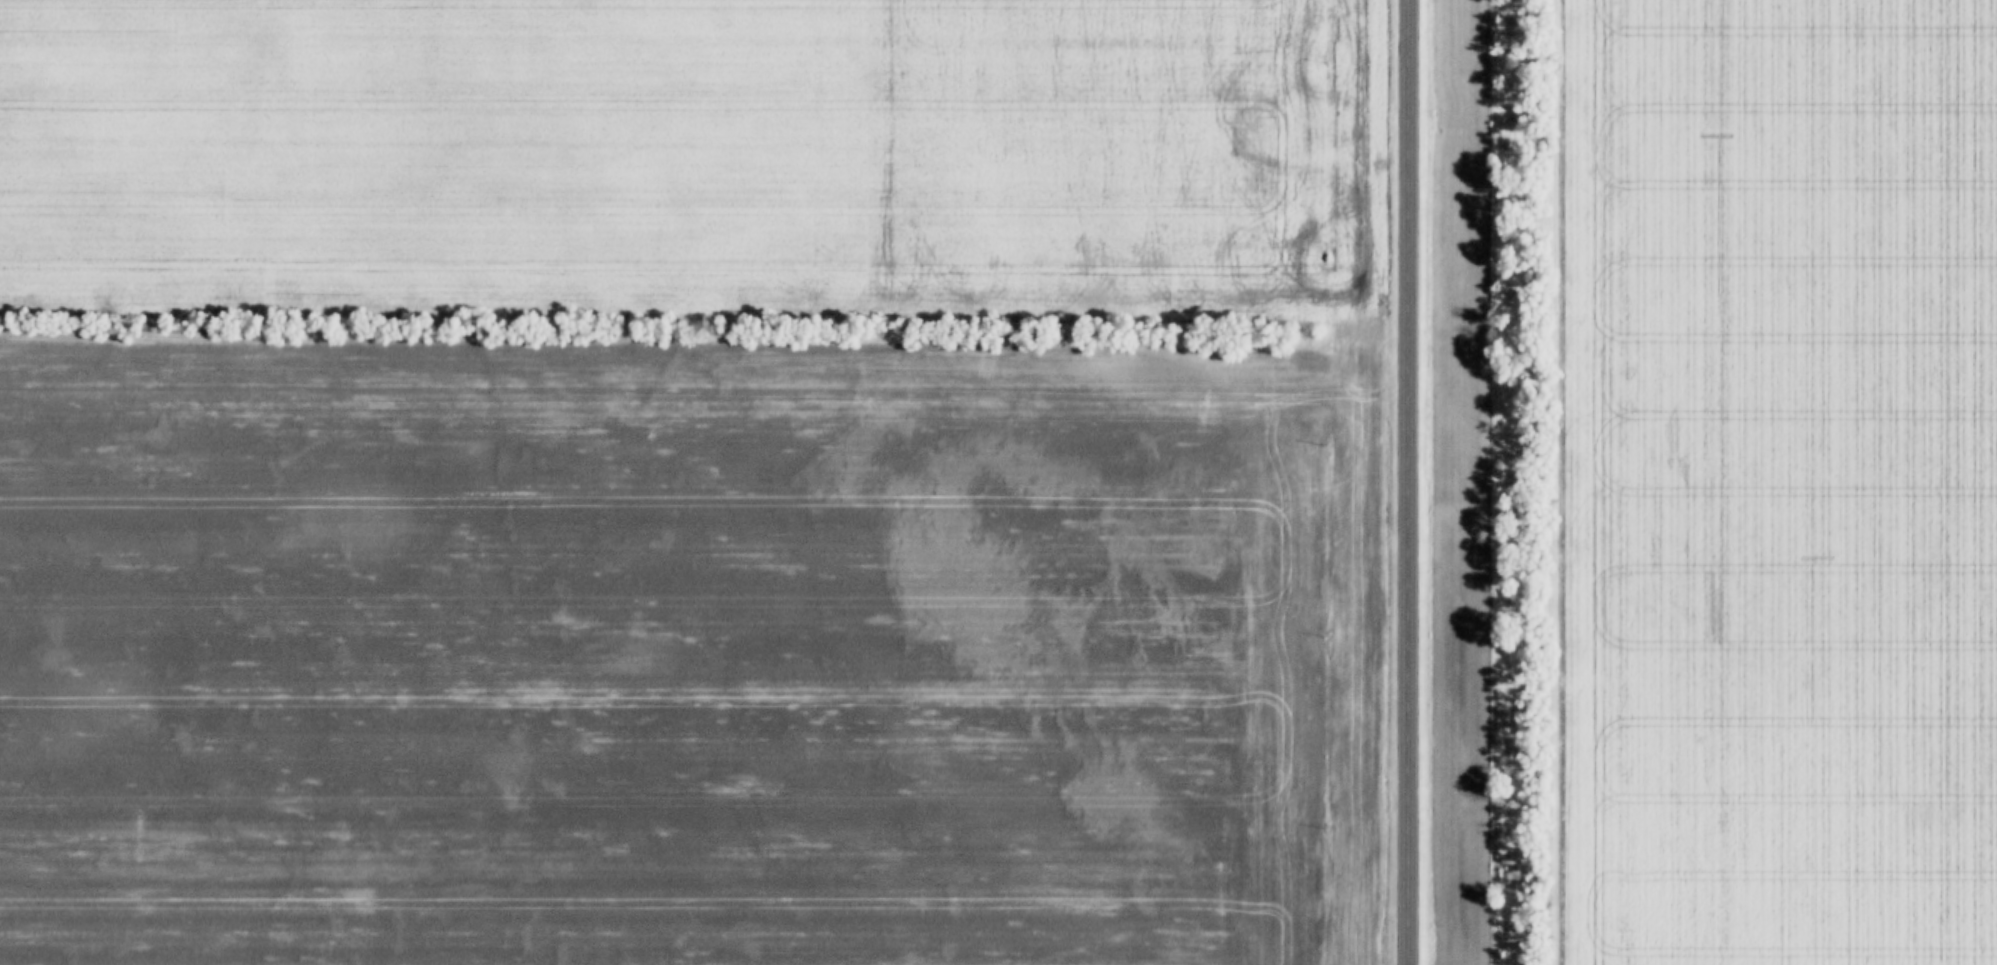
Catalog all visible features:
road: (1406, 482)

